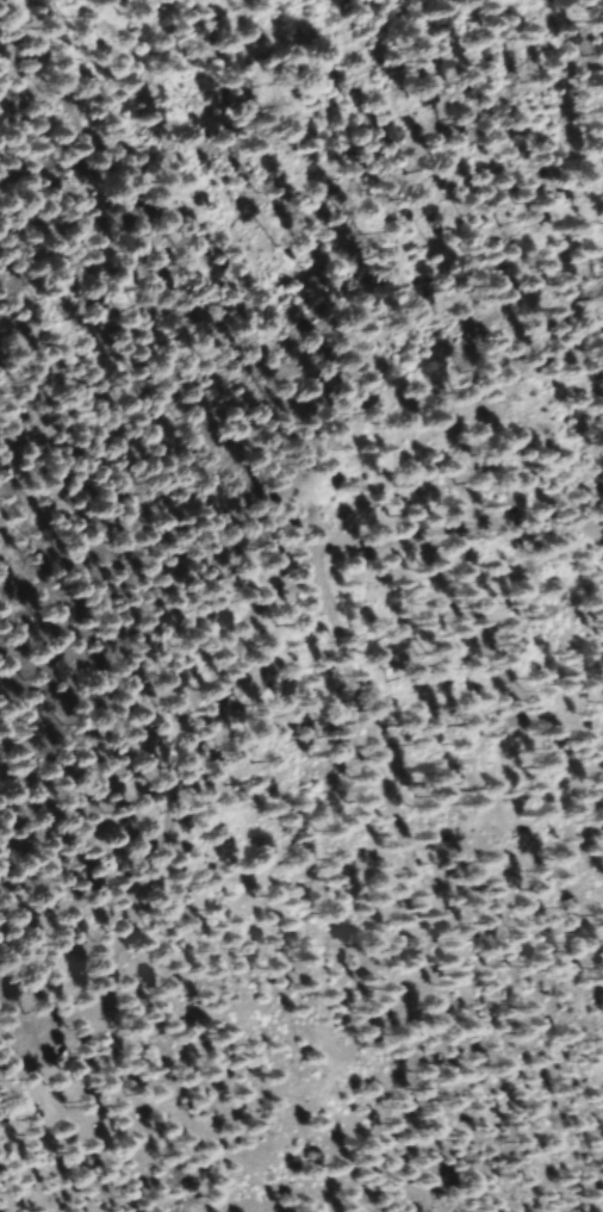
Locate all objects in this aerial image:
road: (2, 1)

